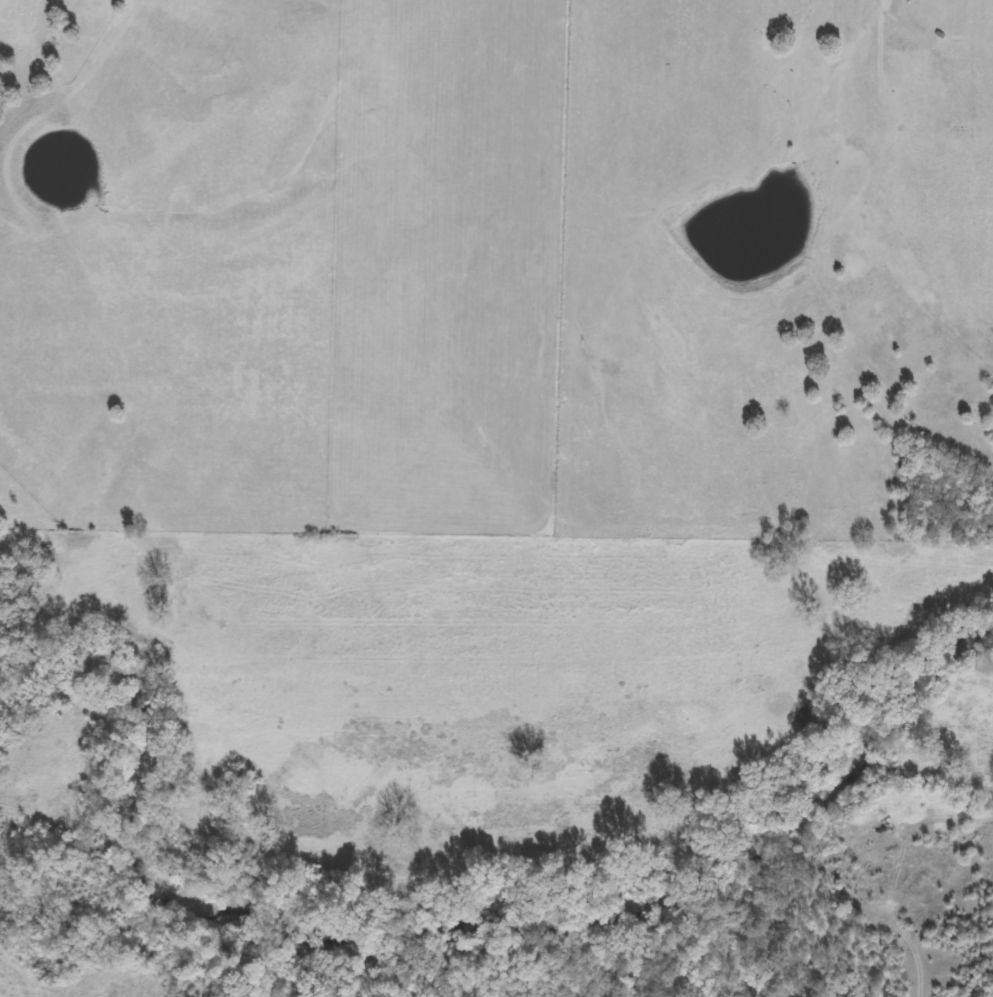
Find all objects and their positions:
road: (979, 820)

